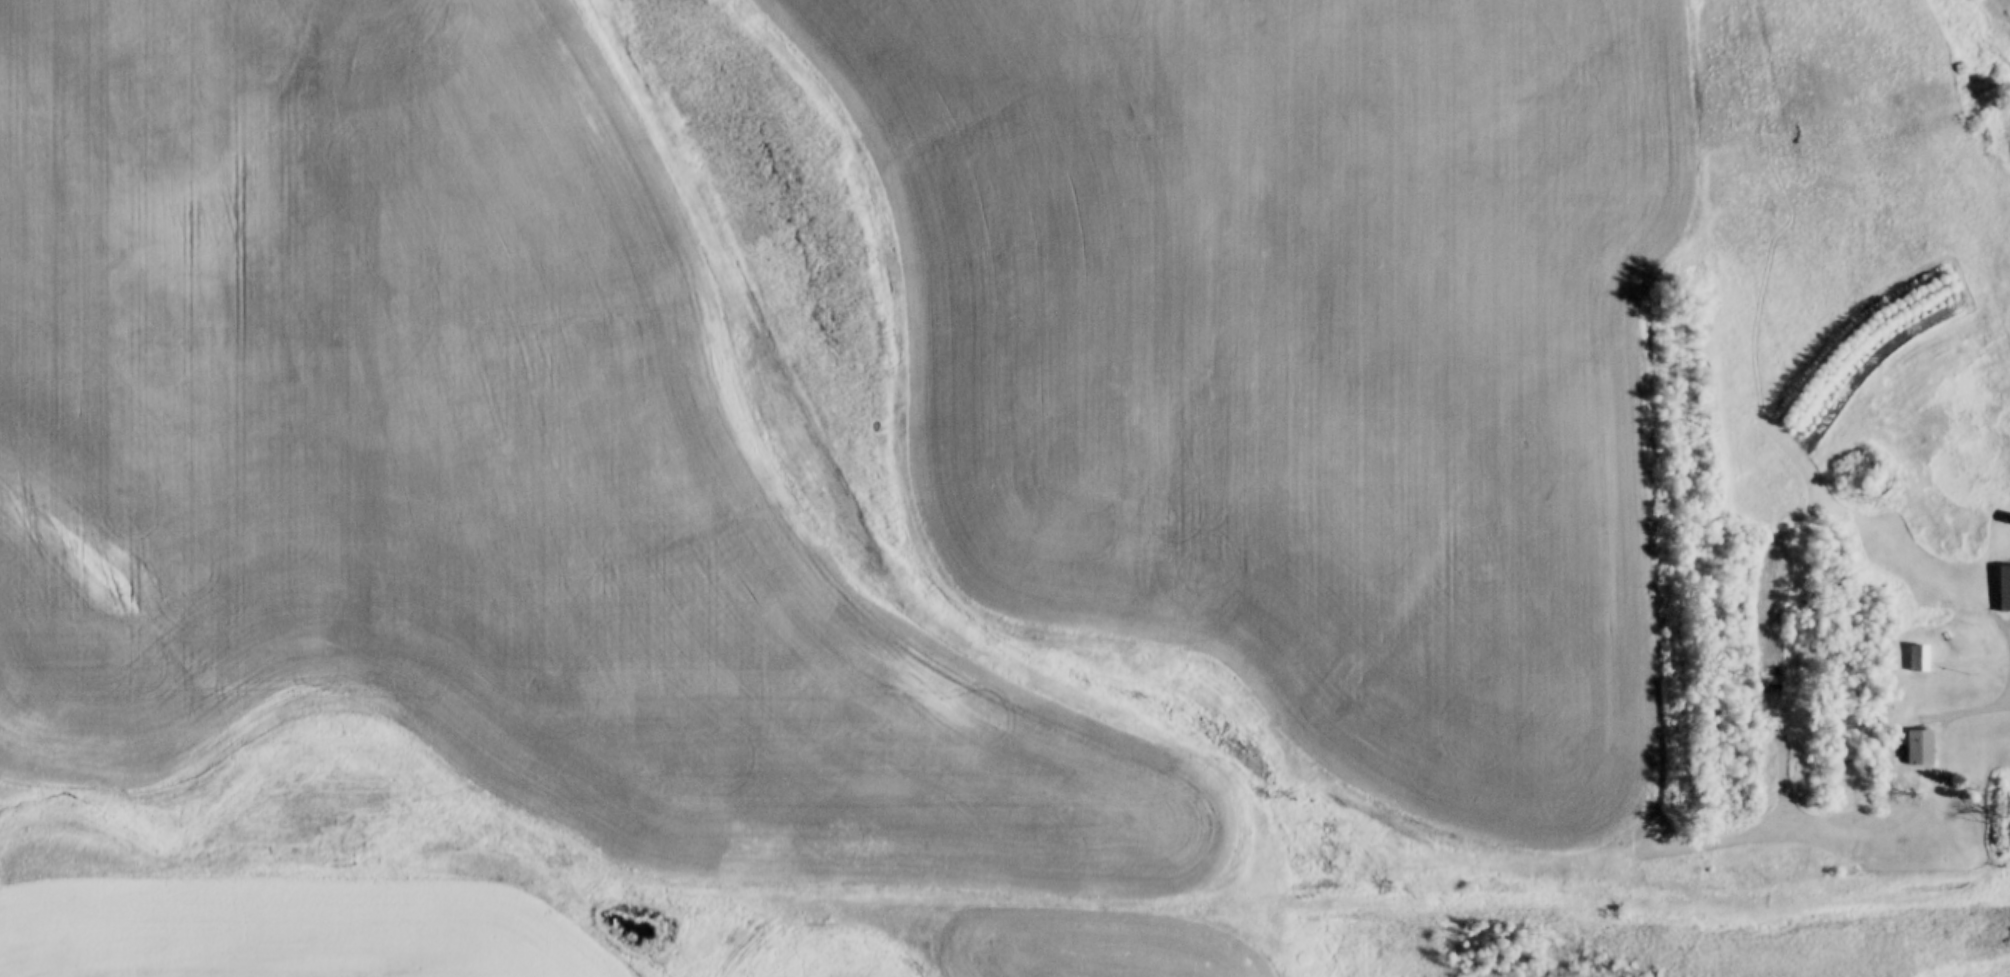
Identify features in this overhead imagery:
building: (2005, 591)
building: (1921, 660)
road: (1965, 713)
building: (1919, 750)

